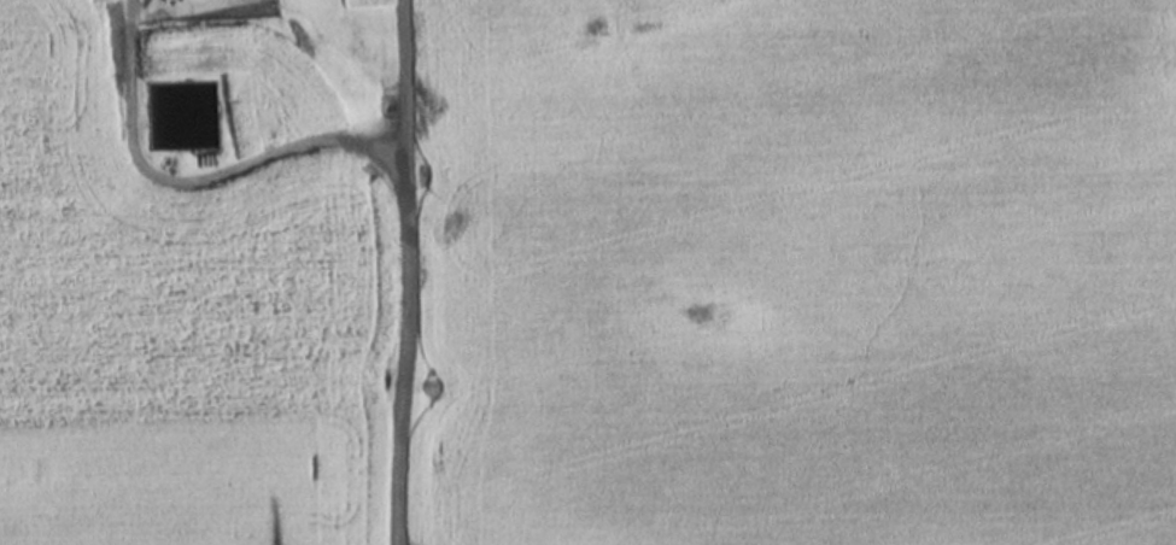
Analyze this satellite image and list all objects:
road: (188, 174)
road: (400, 272)

